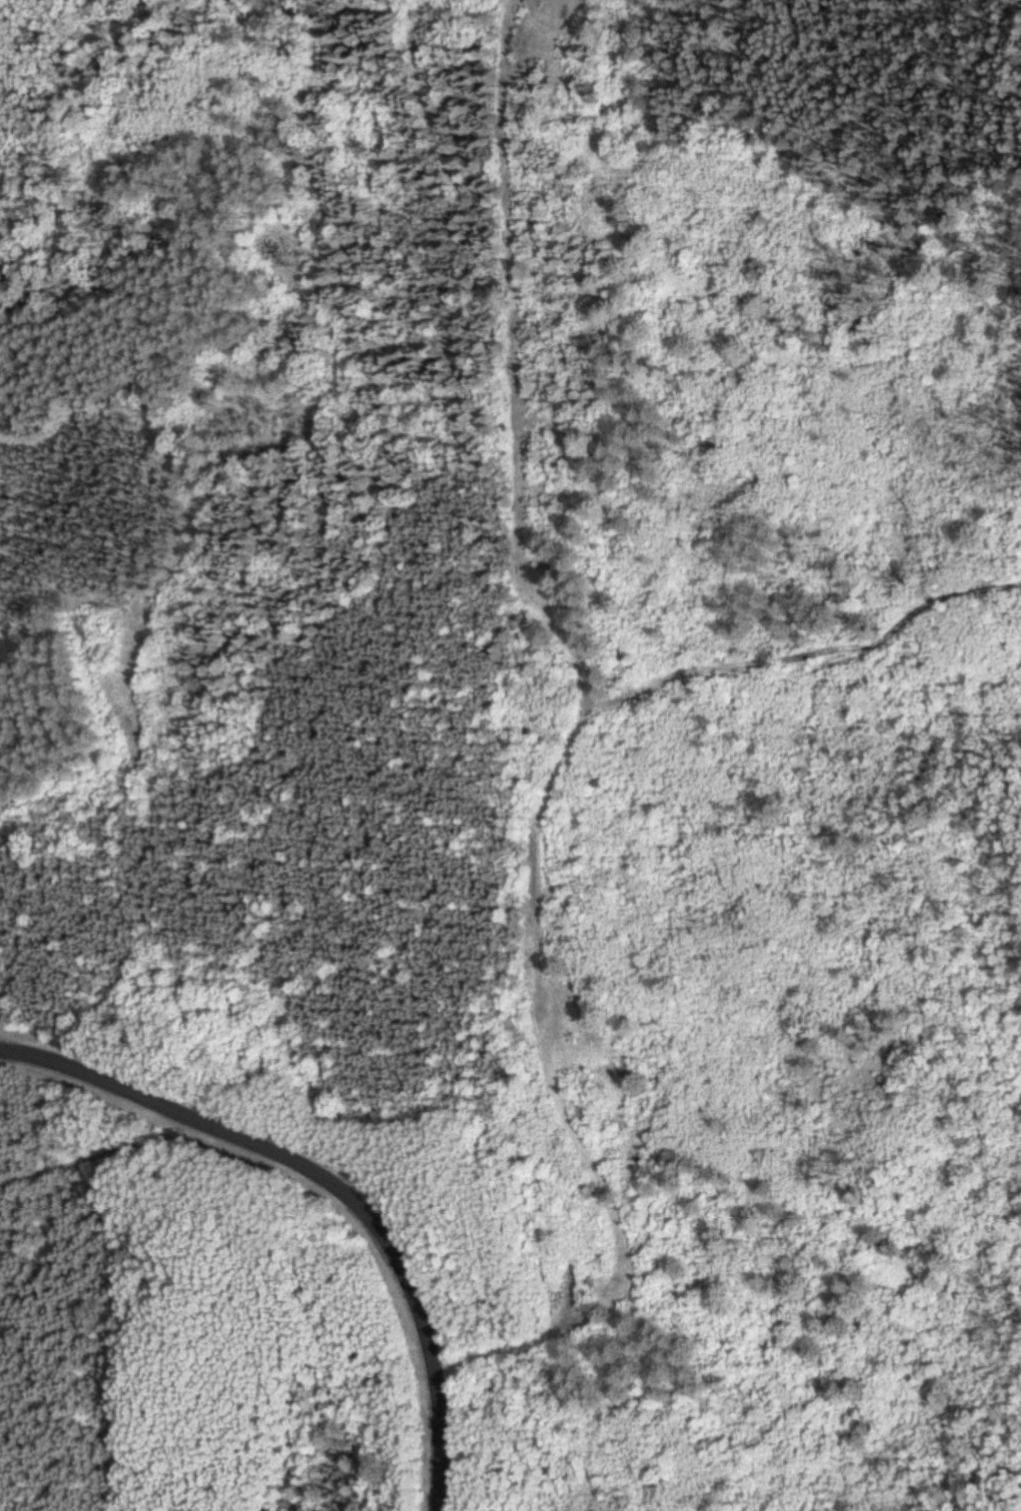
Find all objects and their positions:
road: (327, 1189)

